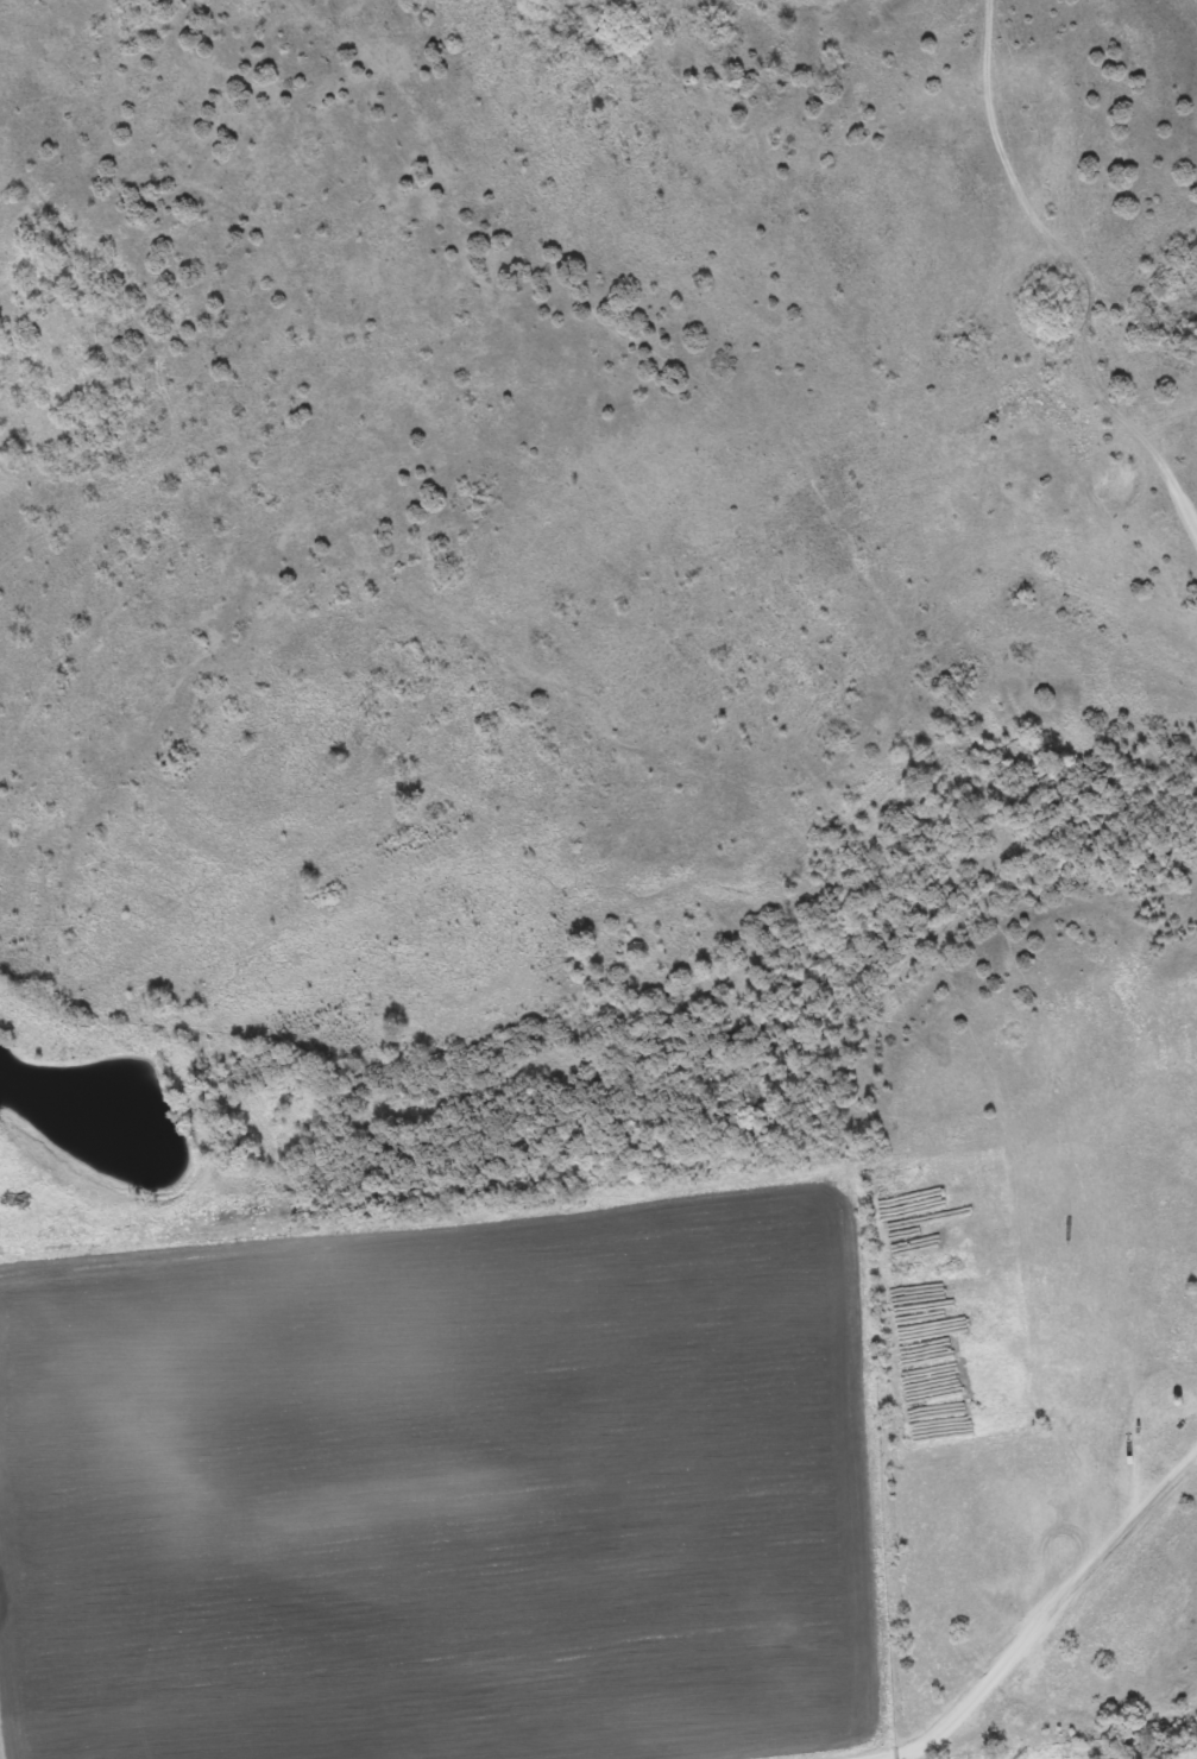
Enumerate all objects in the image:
road: (1028, 282)
road: (605, 1147)
road: (914, 1634)

